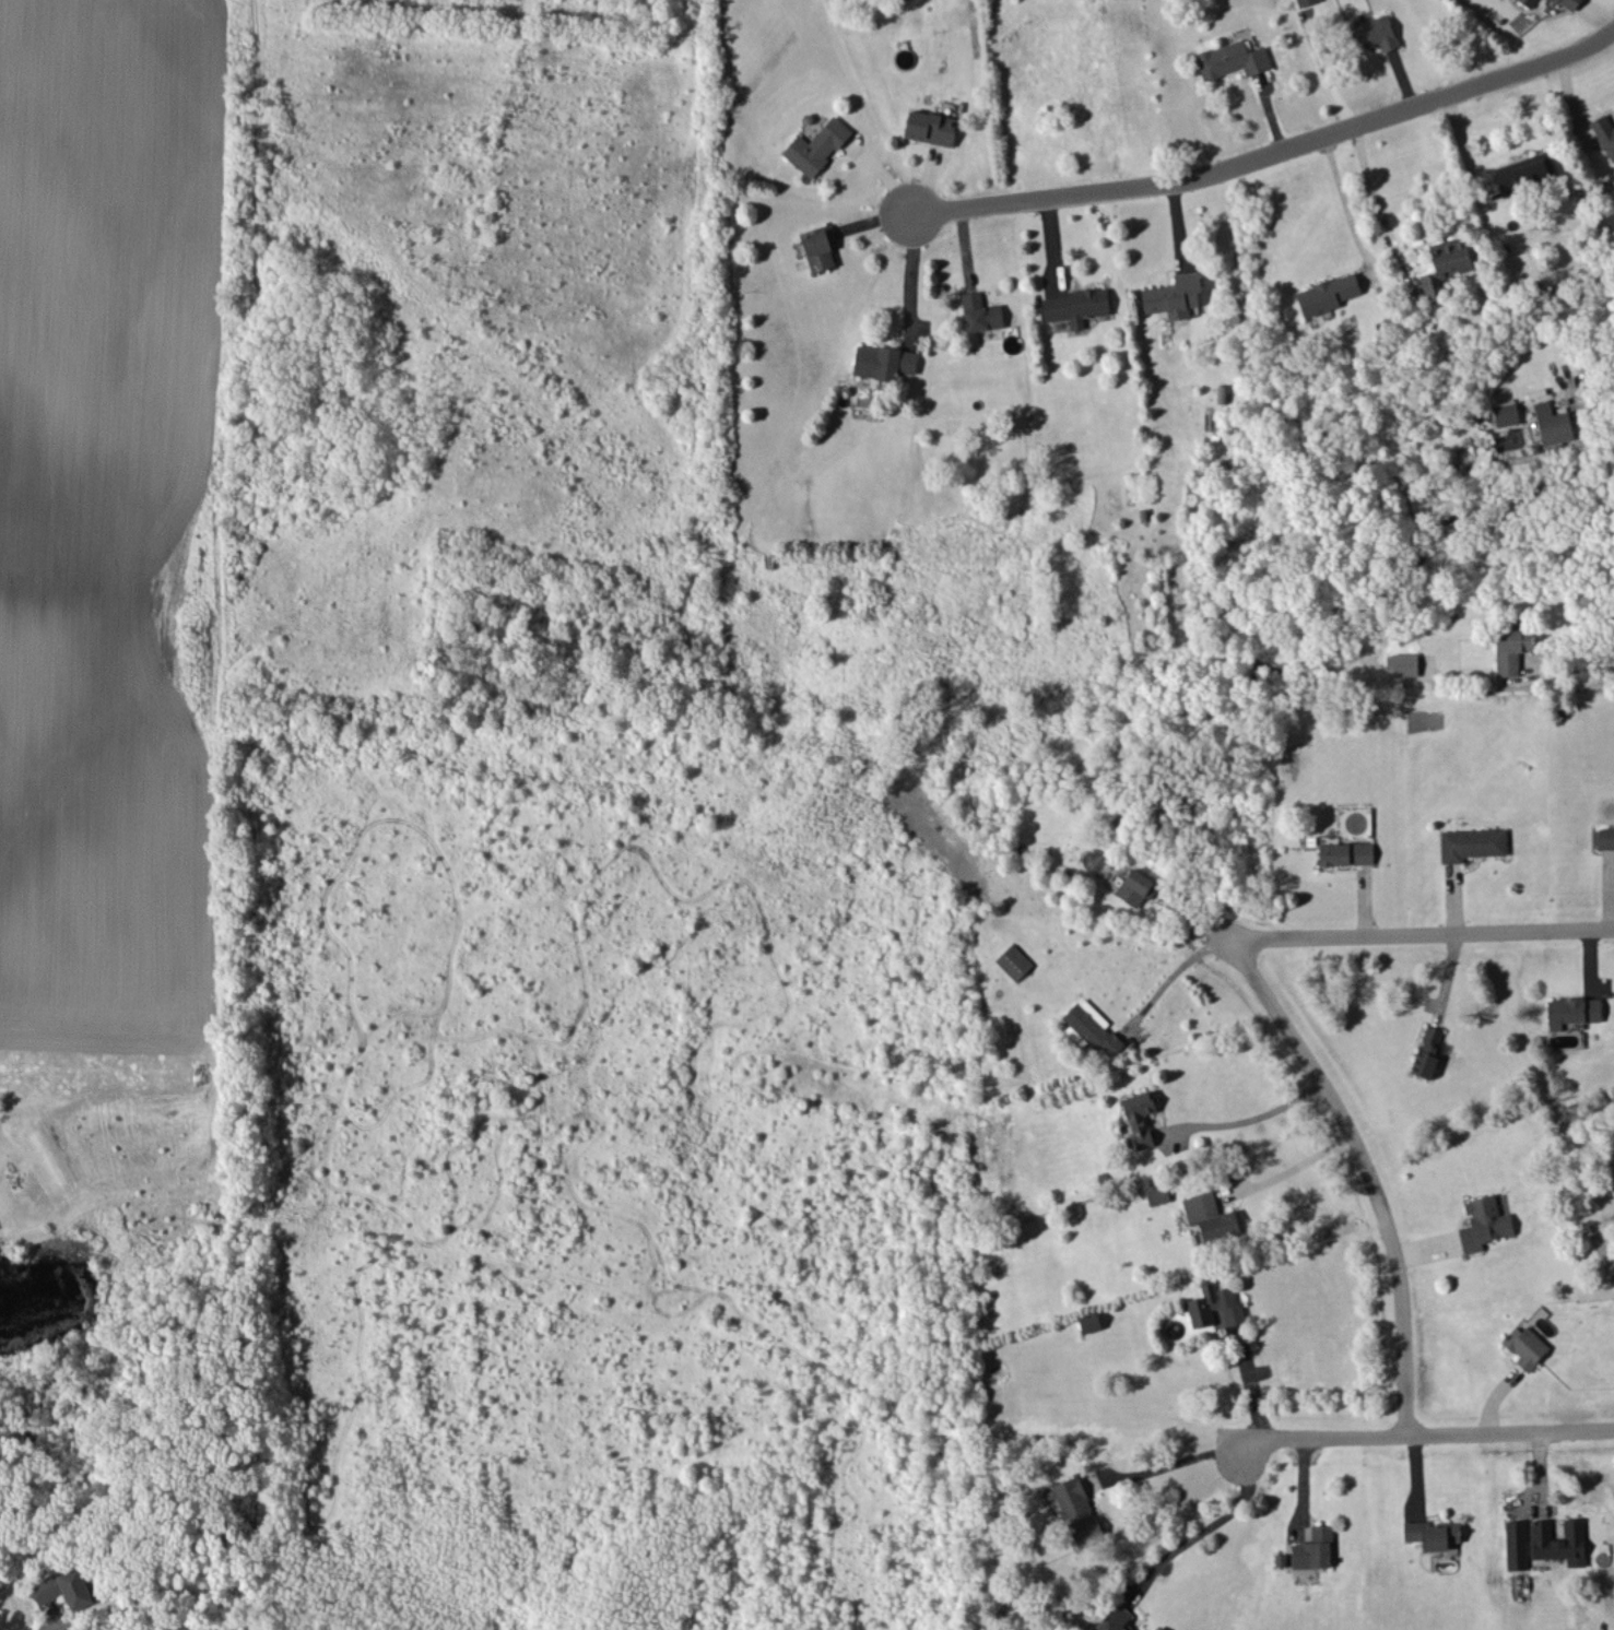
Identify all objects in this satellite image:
building: (1305, 2)
building: (1529, 2)
building: (1568, 3)
building: (1370, 33)
building: (1232, 59)
road: (1324, 72)
building: (930, 127)
building: (1605, 133)
building: (816, 146)
road: (1270, 149)
building: (1527, 174)
road: (1367, 189)
road: (1346, 204)
building: (818, 247)
building: (1445, 264)
road: (905, 273)
building: (1327, 294)
building: (1174, 296)
building: (1076, 306)
building: (980, 312)
building: (883, 362)
road: (1594, 407)
building: (1505, 412)
building: (1552, 424)
building: (1511, 648)
building: (1404, 664)
road: (1576, 670)
building: (1605, 838)
building: (1472, 843)
building: (1345, 853)
building: (1136, 887)
road: (1421, 931)
building: (1014, 961)
road: (1167, 968)
building: (1572, 1011)
building: (1093, 1027)
building: (1427, 1051)
building: (1140, 1118)
road: (1253, 1119)
road: (1289, 1168)
road: (1367, 1171)
building: (1157, 1193)
building: (1210, 1216)
building: (1483, 1224)
building: (1214, 1304)
building: (1089, 1322)
building: (1525, 1346)
road: (1247, 1389)
road: (1422, 1444)
road: (1166, 1462)
road: (1301, 1489)
building: (1076, 1511)
road: (1209, 1527)
building: (1432, 1534)
building: (1559, 1542)
building: (1516, 1545)
building: (1313, 1549)
building: (67, 1590)
building: (1115, 1619)
road: (42, 1629)

